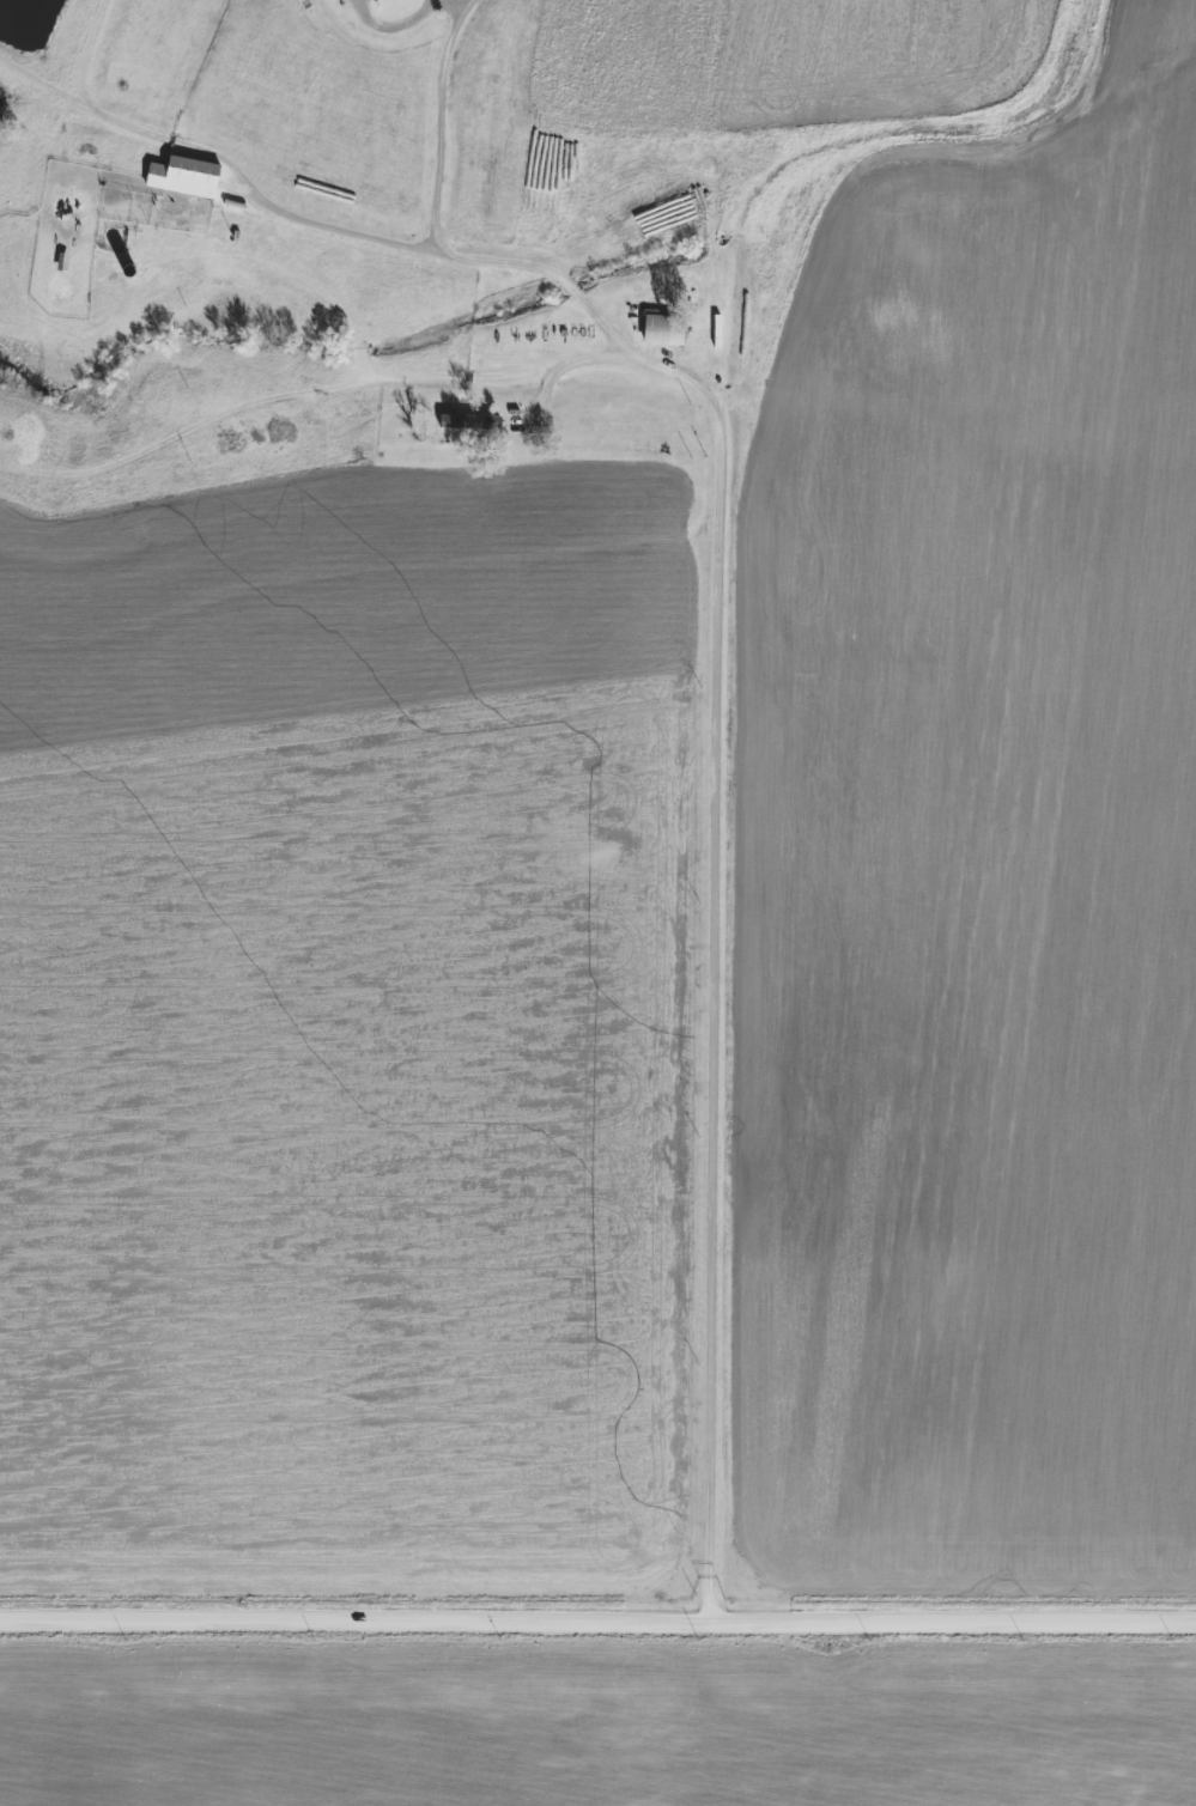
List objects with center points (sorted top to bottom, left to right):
building: (183, 176)
road: (335, 226)
road: (435, 232)
building: (663, 330)
building: (473, 419)
road: (712, 843)
road: (597, 1631)

